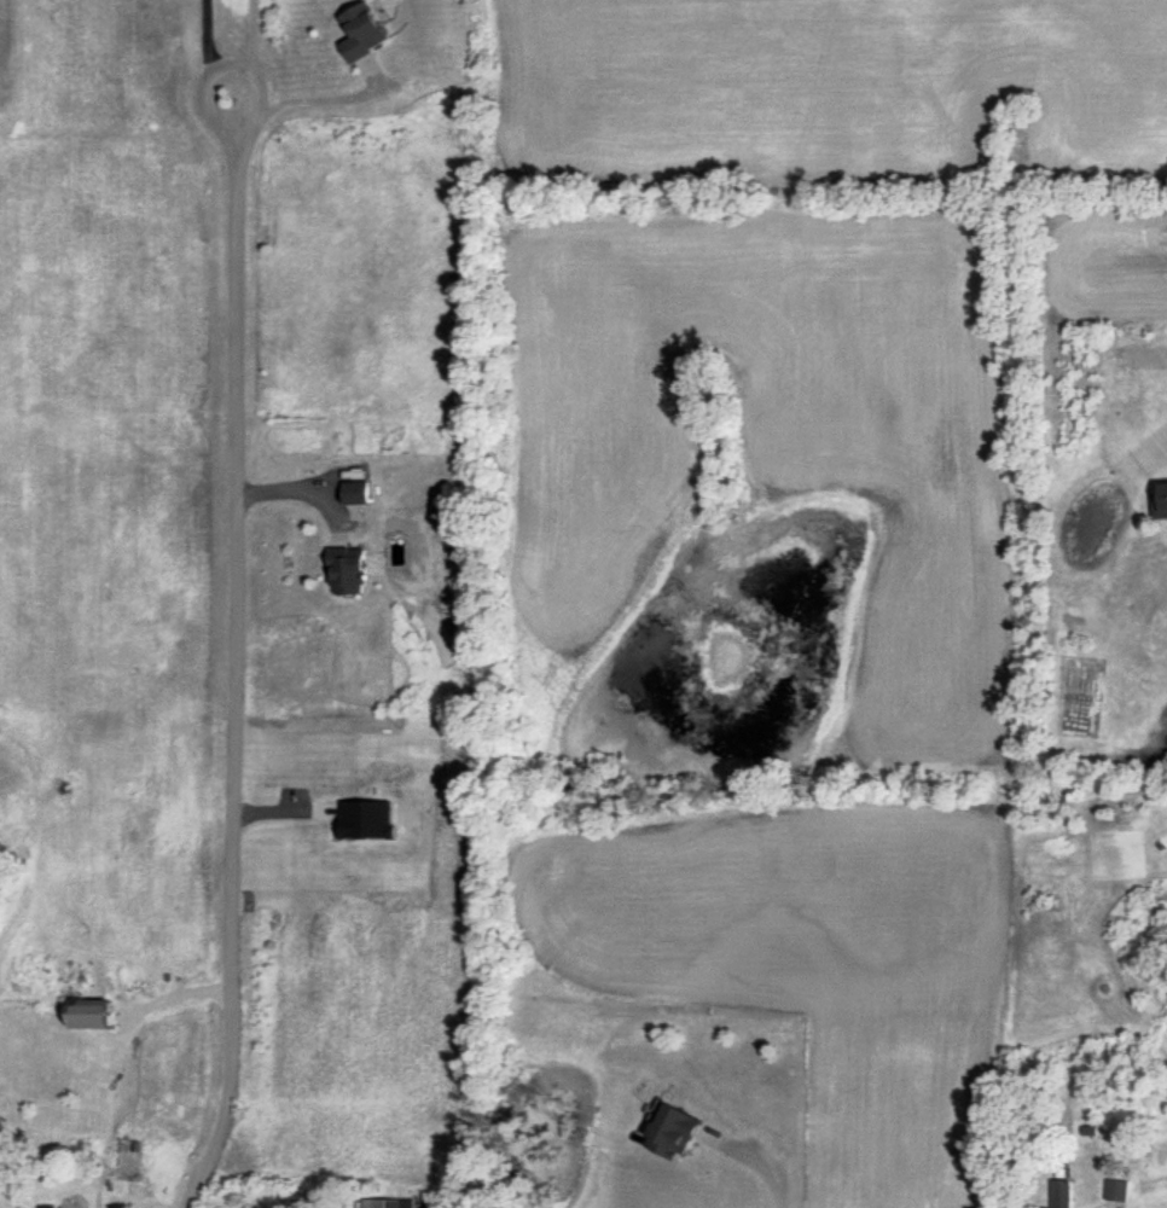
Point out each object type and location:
building: (365, 30)
road: (217, 71)
road: (318, 100)
road: (301, 486)
building: (355, 492)
building: (1161, 503)
building: (348, 569)
road: (239, 606)
building: (368, 819)
building: (92, 1012)
building: (674, 1131)
road: (761, 1166)
building: (1116, 1189)
building: (1063, 1194)
building: (389, 1203)
building: (51, 1206)

